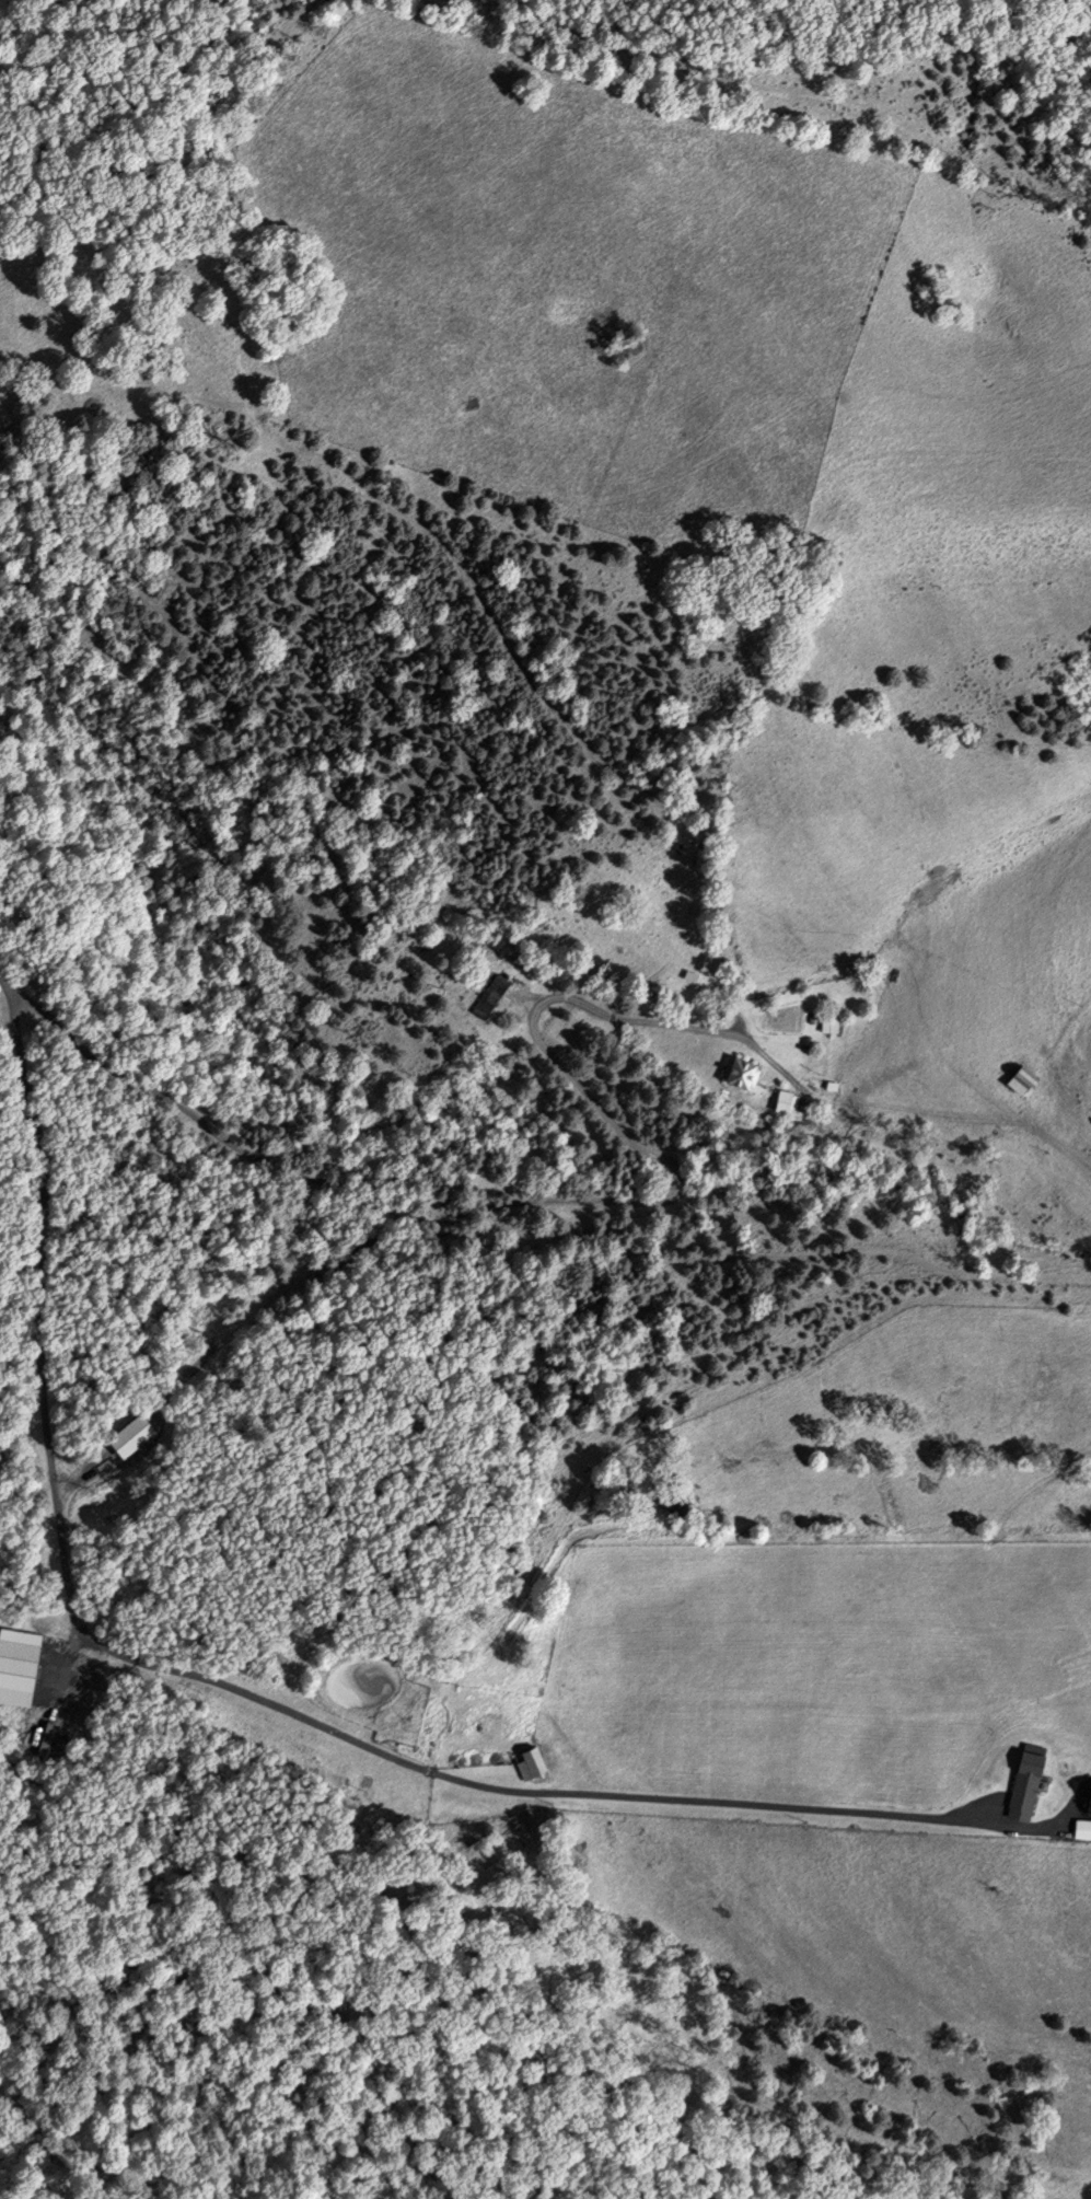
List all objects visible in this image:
building: (490, 996)
building: (834, 1026)
building: (734, 1075)
building: (1020, 1080)
building: (832, 1087)
building: (784, 1103)
road: (947, 1115)
road: (580, 1205)
building: (18, 1674)
road: (257, 1699)
building: (526, 1759)
building: (1024, 1785)
building: (1089, 1806)
building: (1082, 1829)

